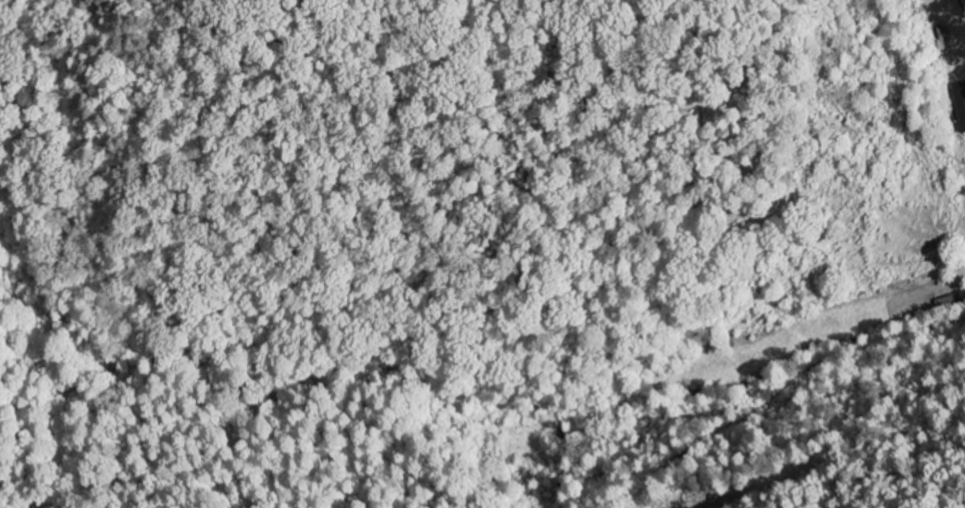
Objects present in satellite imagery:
building: (960, 104)

